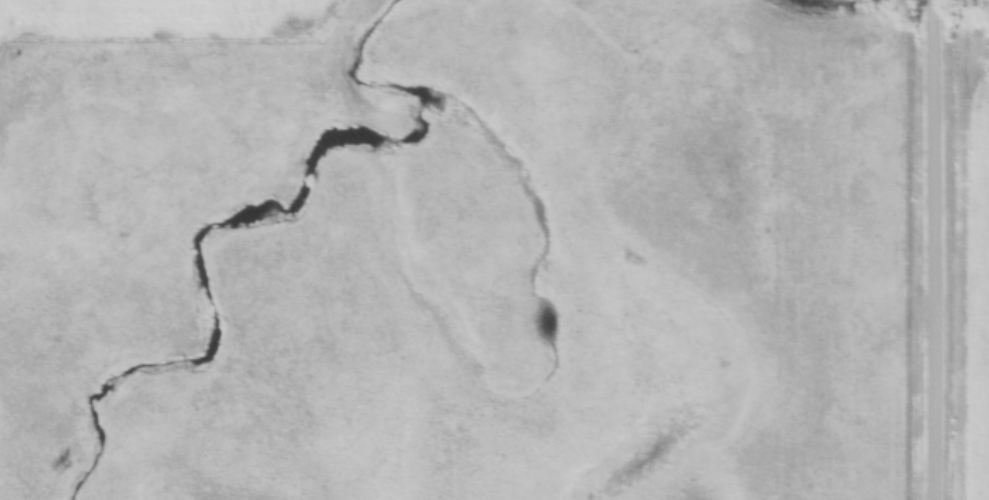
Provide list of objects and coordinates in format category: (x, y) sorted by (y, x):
road: (934, 250)

